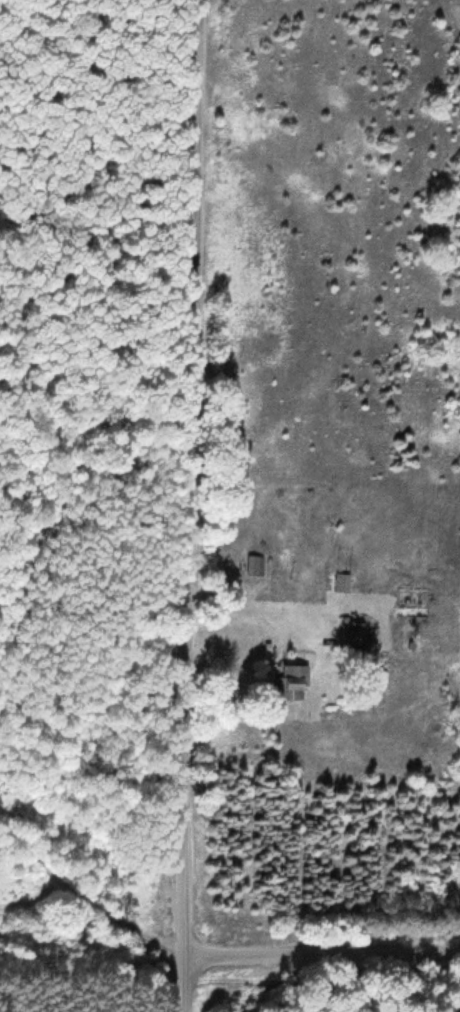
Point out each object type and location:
road: (191, 505)
building: (256, 565)
building: (345, 582)
building: (356, 635)
building: (294, 683)
road: (323, 950)

